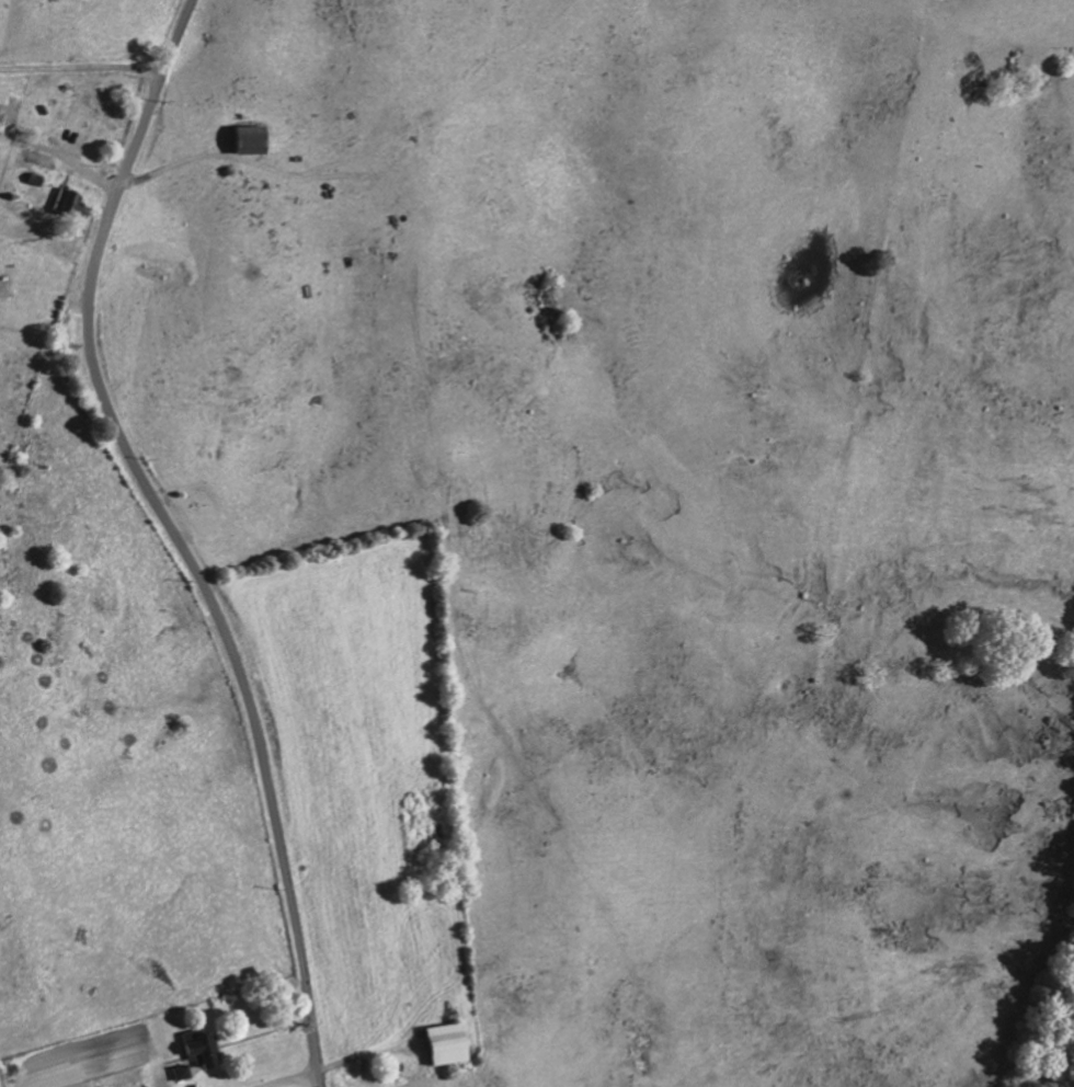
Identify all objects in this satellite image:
building: (0, 114)
building: (240, 141)
building: (66, 205)
road: (174, 537)
building: (437, 1044)
building: (193, 1048)
building: (176, 1073)
road: (272, 1076)

